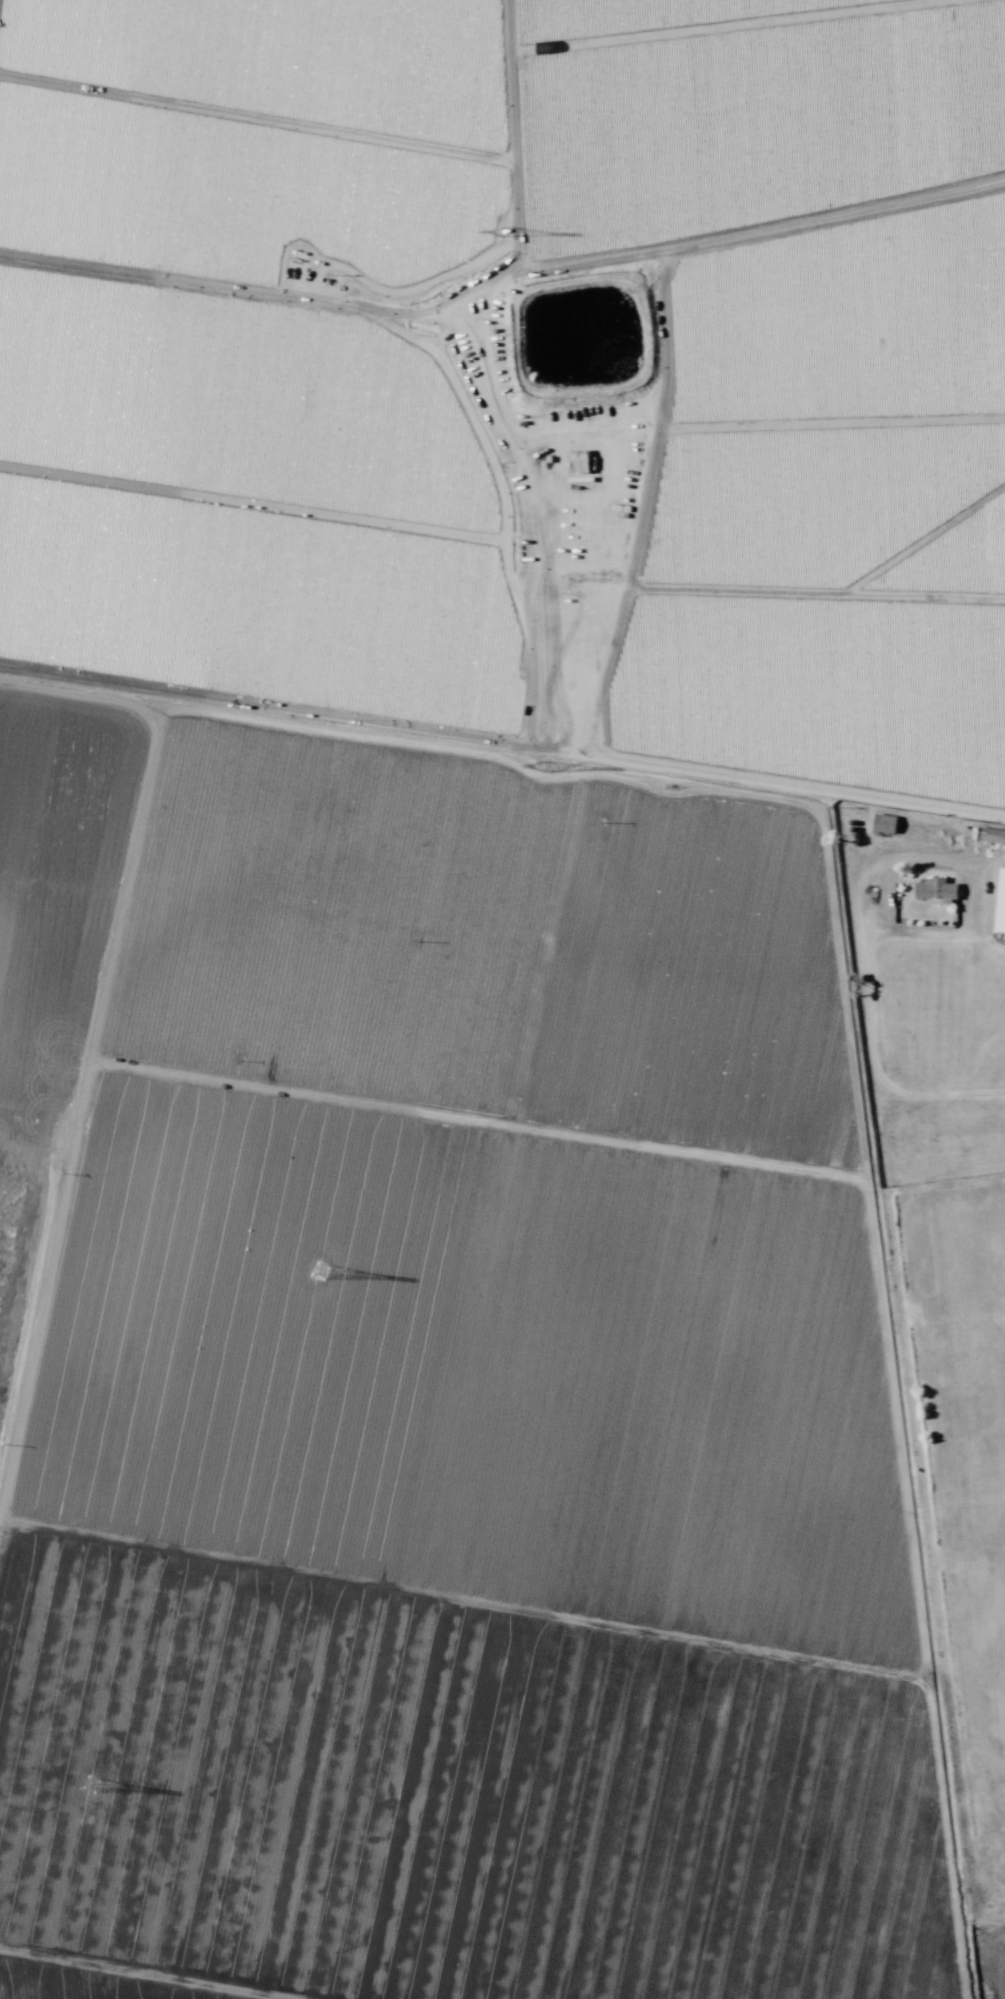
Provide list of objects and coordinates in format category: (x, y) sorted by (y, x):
power tower: (502, 232)
wastewater plant: (576, 342)
building: (578, 460)
power tower: (542, 767)
road: (725, 781)
building: (884, 823)
building: (935, 889)
building: (1001, 902)
crop: (470, 979)
road: (946, 1092)
power tower: (318, 1272)
power tower: (87, 1784)

